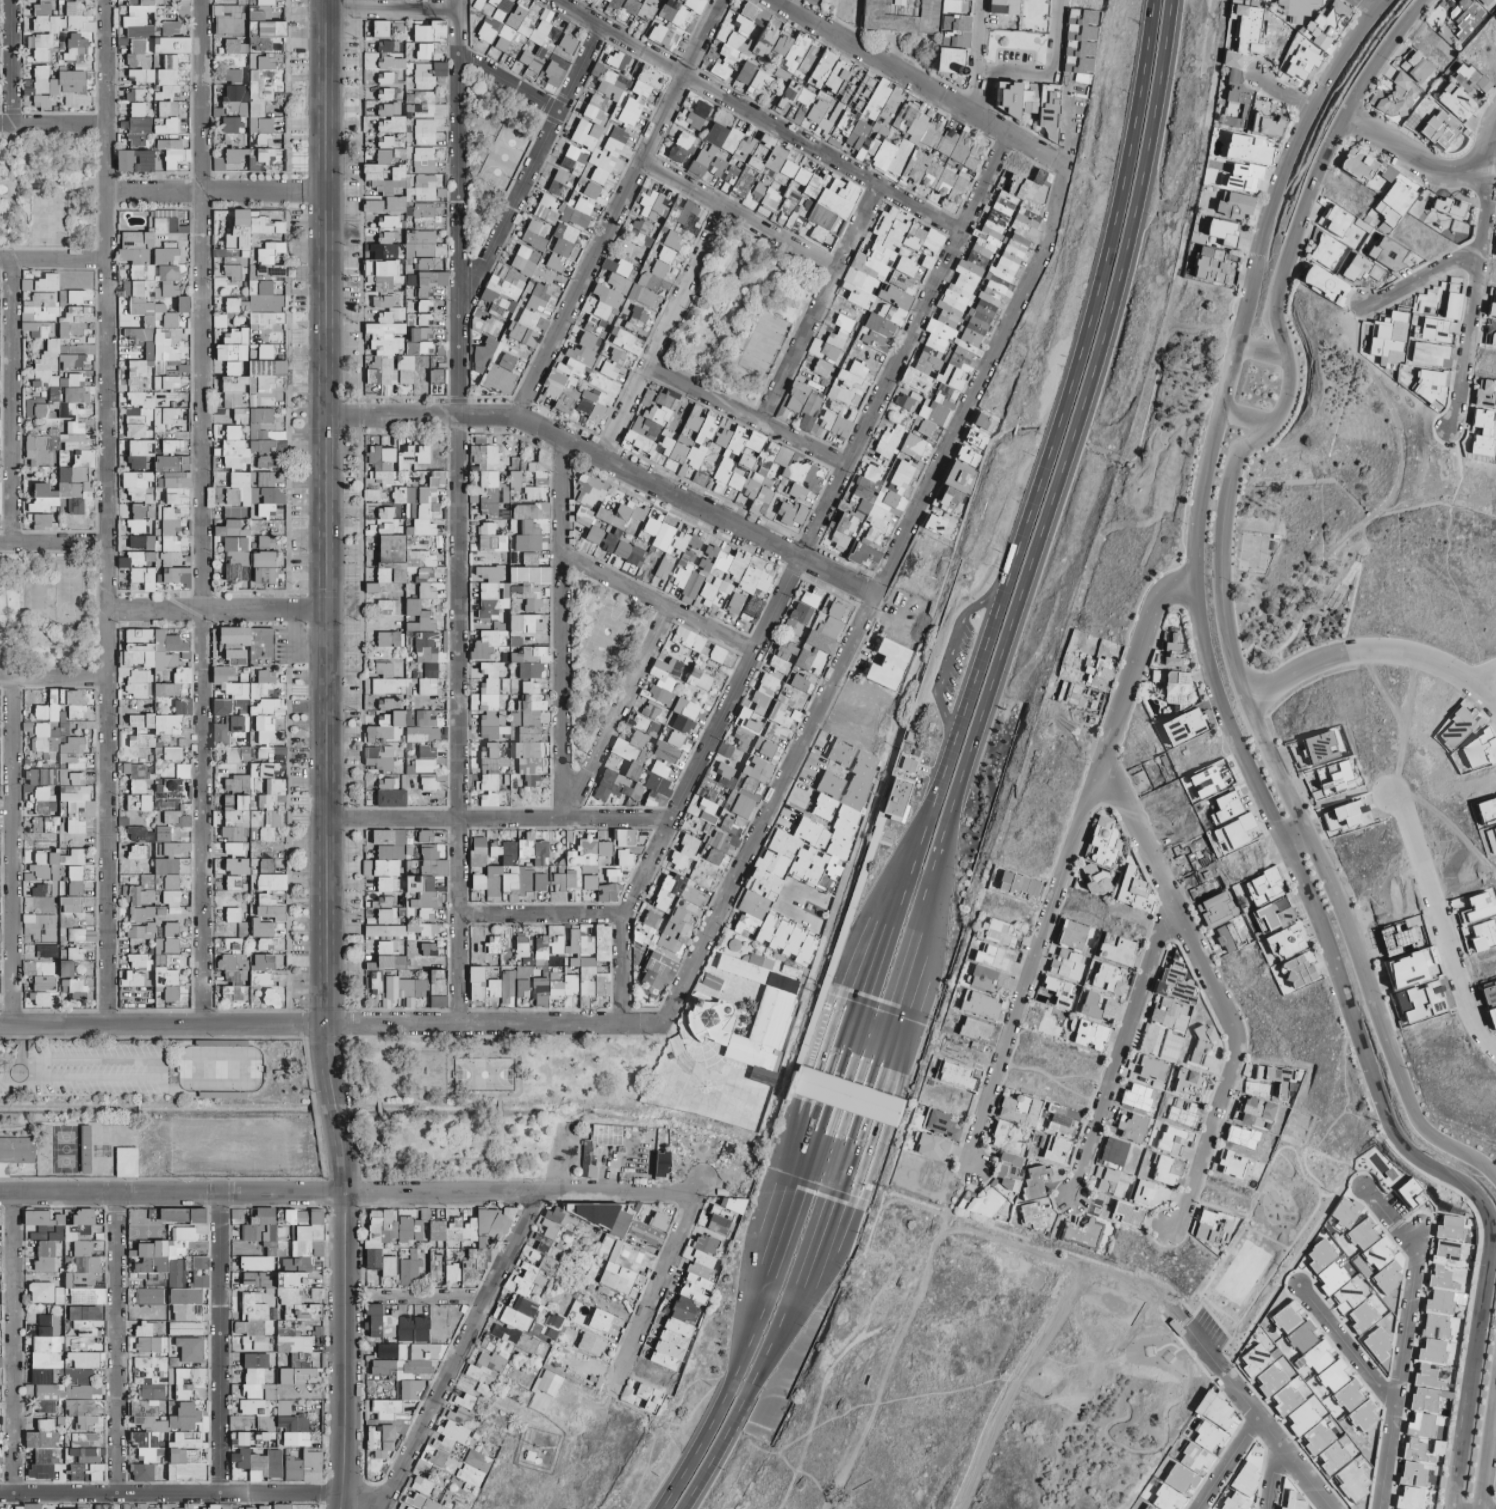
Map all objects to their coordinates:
park: (488, 158)
park: (50, 199)
park: (739, 312)
park: (49, 611)
park: (596, 657)
parking lot: (960, 657)
park: (494, 1103)

